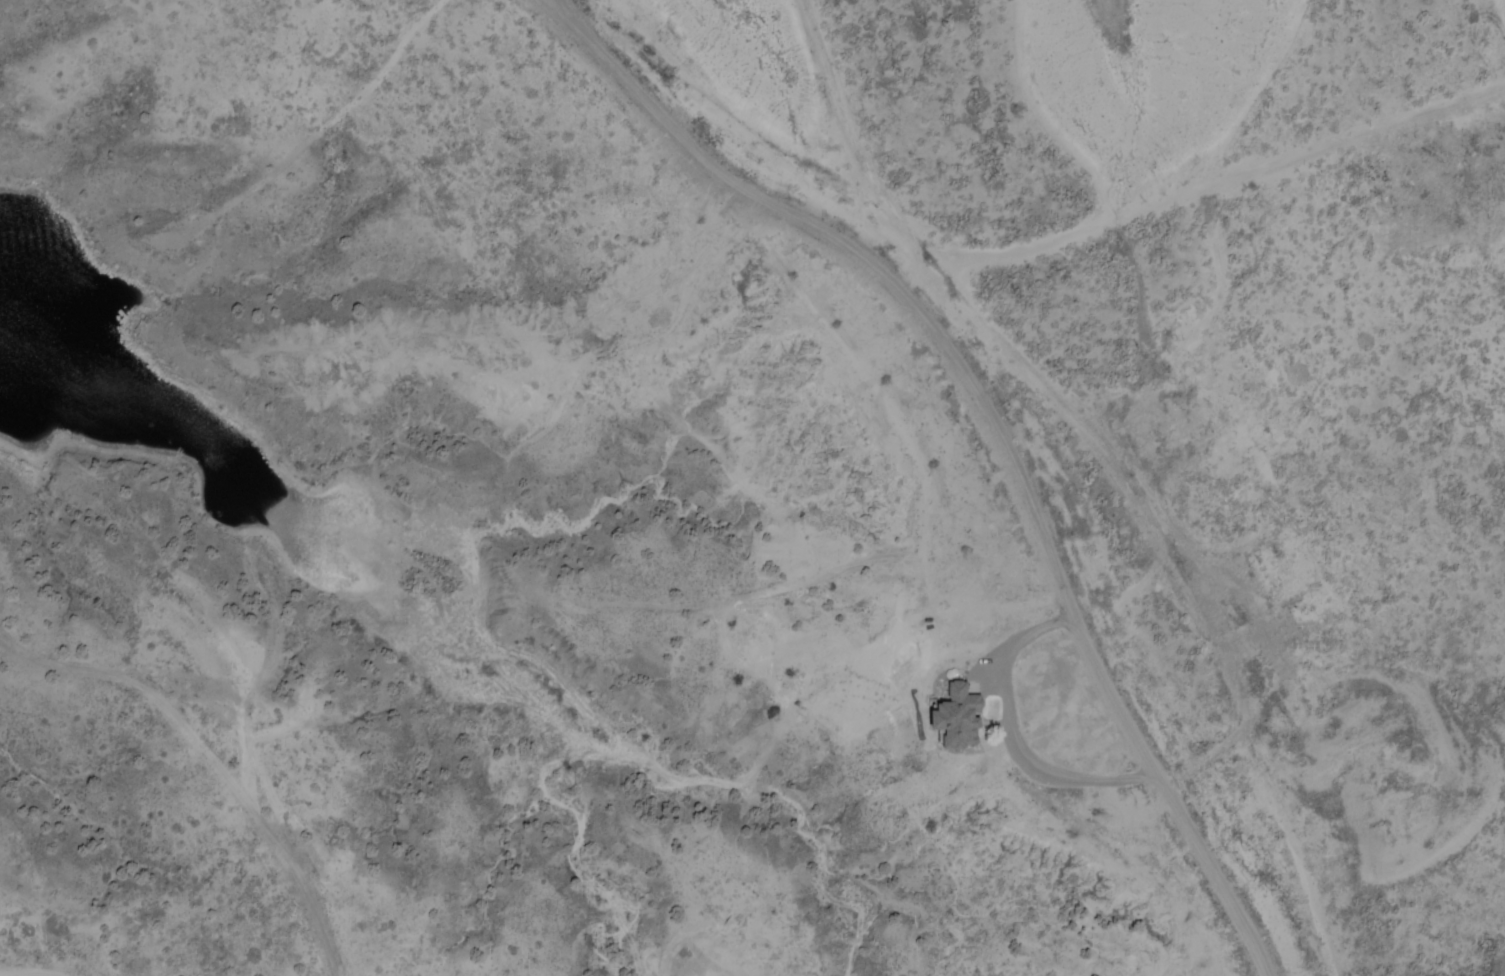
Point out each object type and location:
road: (995, 425)
building: (953, 718)
road: (213, 759)

